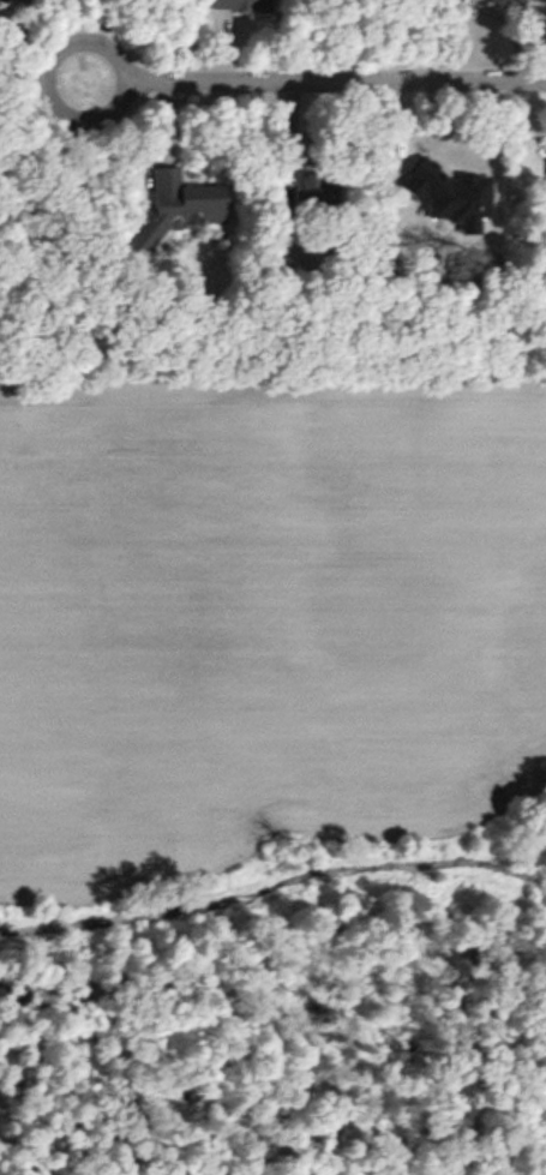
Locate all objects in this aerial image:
building: (503, 1)
building: (5, 2)
building: (239, 5)
road: (280, 80)
building: (545, 174)
building: (175, 203)

